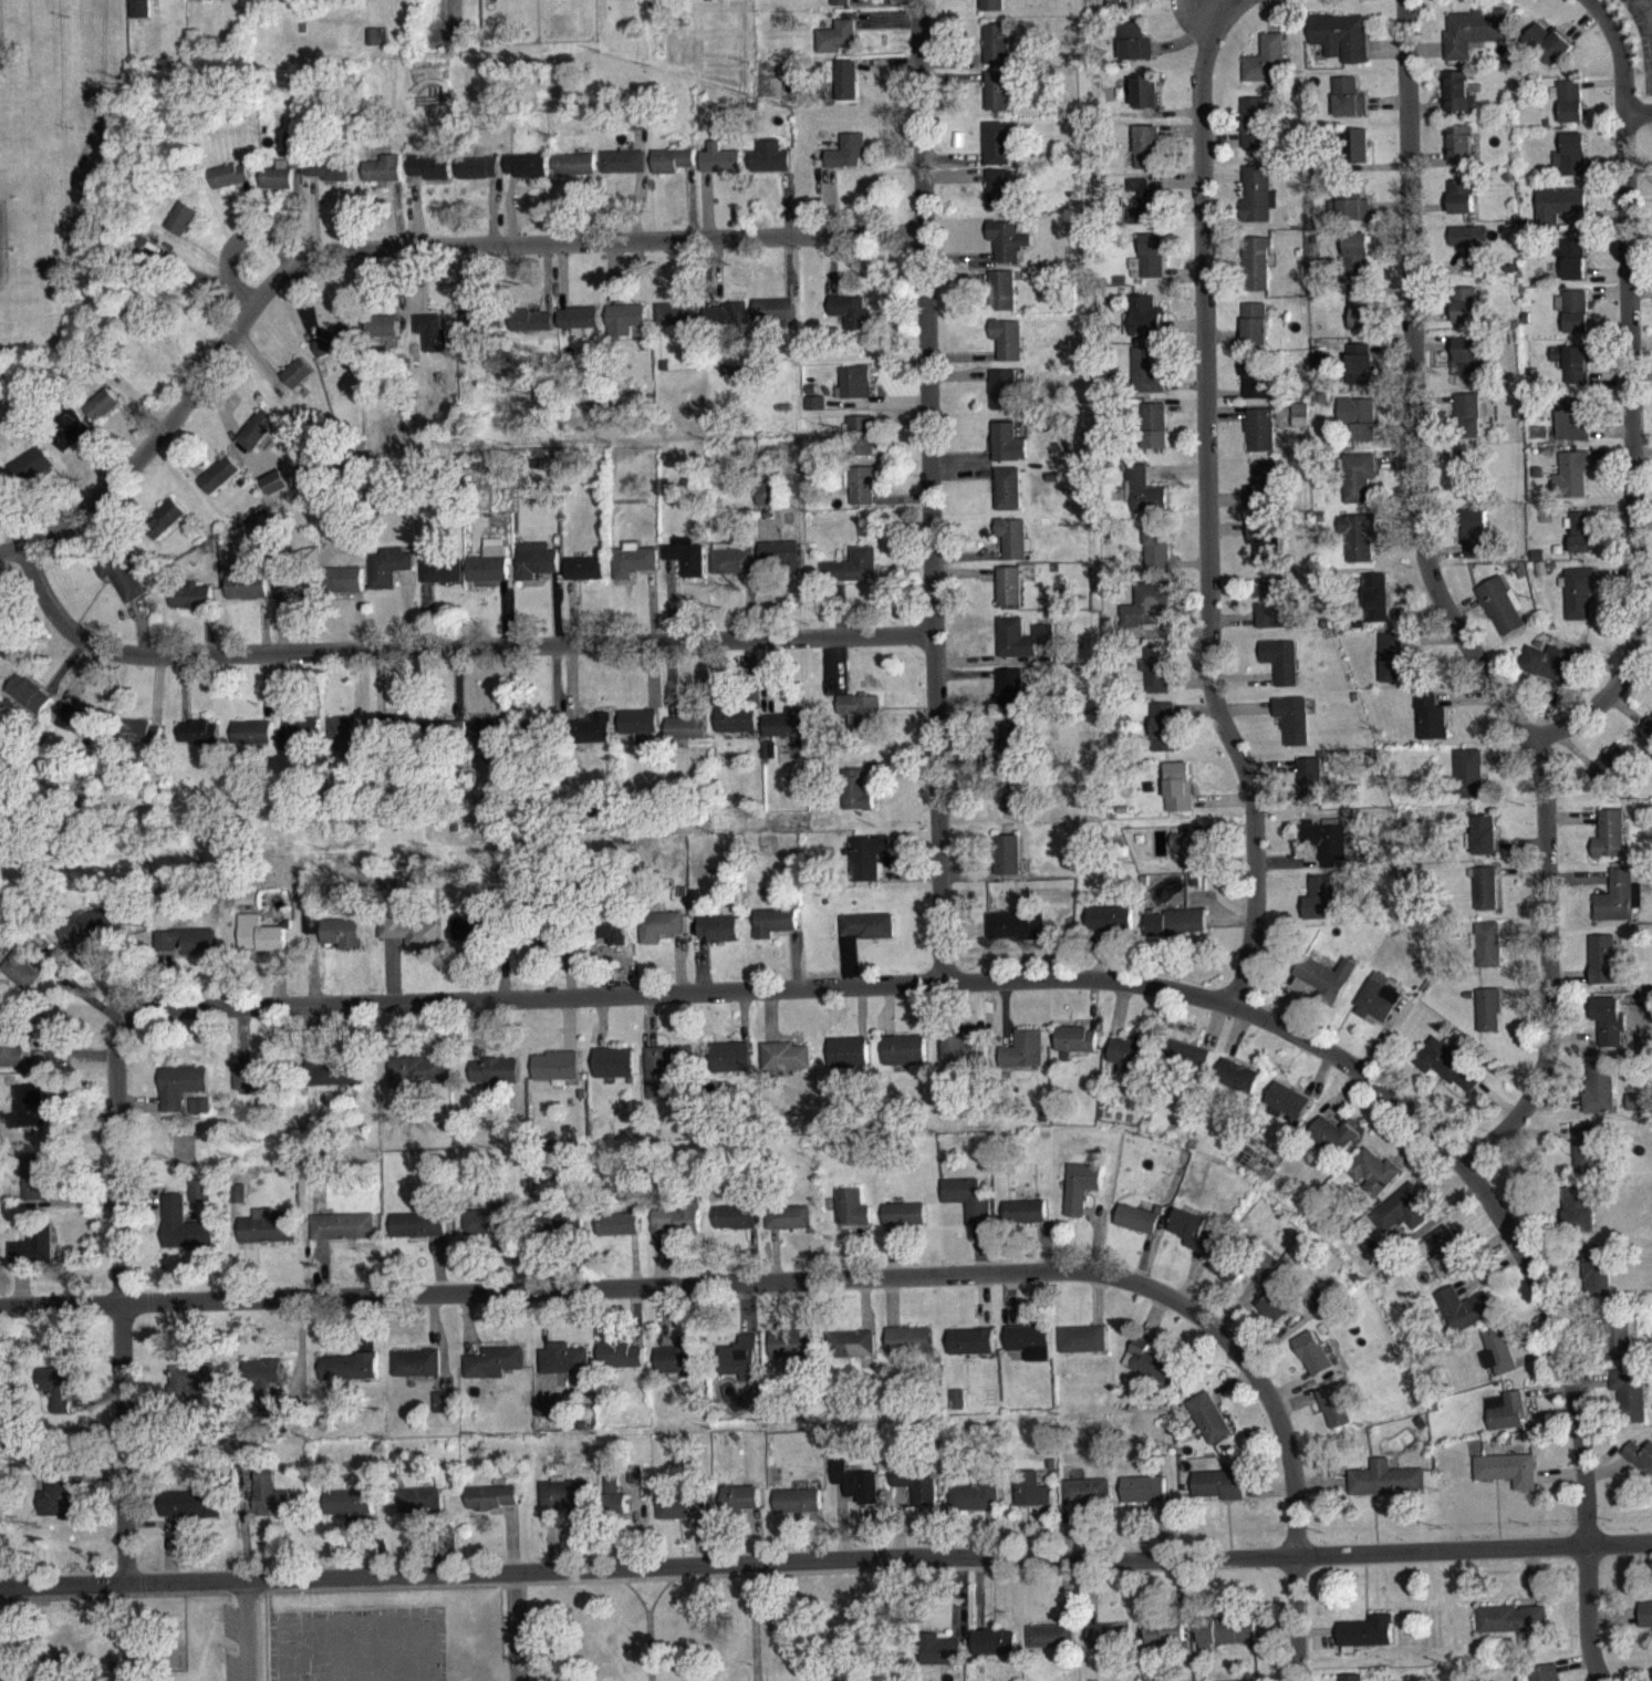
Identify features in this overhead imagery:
road: (1645, 7)
building: (841, 8)
building: (1124, 8)
road: (1254, 8)
building: (991, 10)
building: (141, 18)
building: (1472, 41)
building: (376, 46)
building: (837, 46)
building: (1341, 46)
building: (1134, 52)
road: (1617, 52)
building: (1549, 53)
building: (997, 54)
building: (1266, 71)
building: (846, 90)
building: (997, 101)
building: (1144, 102)
building: (1458, 103)
building: (1349, 107)
building: (1570, 111)
road: (1638, 111)
building: (1255, 133)
building: (294, 148)
building: (997, 153)
building: (1459, 154)
building: (1145, 155)
building: (1355, 155)
building: (848, 163)
building: (1571, 165)
building: (770, 168)
building: (720, 169)
building: (673, 170)
building: (624, 172)
building: (527, 175)
building: (575, 175)
building: (432, 177)
building: (479, 178)
building: (328, 179)
building: (384, 179)
building: (230, 185)
building: (278, 186)
building: (1000, 200)
building: (1257, 204)
building: (1461, 207)
building: (1143, 211)
building: (1559, 215)
building: (1350, 216)
building: (181, 228)
road: (231, 242)
road: (396, 247)
building: (1008, 250)
building: (1471, 255)
building: (1358, 260)
building: (1150, 268)
building: (1572, 269)
building: (1257, 273)
building: (1002, 300)
building: (1465, 314)
building: (1360, 318)
building: (775, 320)
building: (1573, 321)
building: (851, 322)
building: (678, 323)
building: (727, 326)
building: (1146, 326)
building: (579, 329)
building: (625, 329)
building: (477, 331)
building: (533, 331)
building: (1255, 334)
building: (382, 335)
building: (432, 342)
building: (1007, 349)
building: (335, 350)
building: (1468, 367)
building: (1321, 370)
building: (1572, 373)
building: (1361, 374)
building: (1146, 381)
building: (298, 383)
building: (1256, 387)
building: (854, 392)
building: (1002, 400)
building: (815, 413)
building: (102, 415)
building: (1300, 425)
building: (1467, 426)
building: (1360, 427)
building: (1572, 429)
building: (1154, 436)
building: (259, 438)
building: (1260, 440)
building: (860, 445)
building: (270, 448)
road: (1631, 452)
building: (1007, 453)
building: (32, 475)
building: (1466, 484)
building: (220, 485)
building: (1571, 485)
building: (1359, 488)
building: (1, 489)
building: (273, 490)
road: (927, 490)
building: (863, 496)
building: (1264, 496)
building: (1007, 498)
building: (1143, 500)
building: (768, 507)
road: (1220, 515)
building: (169, 525)
building: (1580, 541)
building: (1475, 543)
building: (1012, 548)
building: (1359, 548)
building: (1264, 551)
building: (1157, 558)
building: (780, 565)
building: (687, 567)
building: (537, 570)
building: (634, 570)
building: (734, 570)
building: (490, 572)
building: (388, 575)
building: (853, 577)
building: (585, 578)
building: (443, 580)
building: (122, 585)
building: (350, 590)
building: (1009, 595)
building: (248, 596)
building: (1579, 603)
building: (191, 605)
building: (1375, 608)
road: (1442, 609)
building: (1274, 614)
building: (1147, 615)
building: (1502, 615)
road: (449, 646)
building: (1021, 647)
building: (1394, 671)
building: (1281, 672)
building: (1550, 673)
building: (1156, 678)
building: (1010, 698)
building: (30, 704)
building: (862, 723)
building: (1431, 727)
building: (738, 729)
building: (1293, 729)
building: (788, 730)
building: (82, 731)
building: (387, 734)
building: (1649, 734)
building: (641, 736)
building: (689, 737)
building: (1163, 737)
building: (540, 739)
building: (596, 739)
building: (445, 740)
building: (252, 741)
building: (141, 743)
building: (199, 743)
building: (300, 744)
building: (492, 744)
building: (346, 747)
building: (1011, 747)
building: (770, 760)
building: (1611, 775)
building: (1468, 784)
building: (1309, 791)
building: (1178, 797)
building: (856, 800)
building: (1014, 800)
building: (1485, 844)
building: (1609, 845)
building: (1324, 848)
building: (1187, 854)
building: (1008, 864)
building: (867, 868)
building: (1485, 899)
building: (1320, 907)
building: (1618, 907)
building: (1110, 930)
building: (778, 931)
building: (1177, 933)
building: (870, 935)
building: (1015, 935)
building: (662, 936)
building: (91, 938)
building: (477, 938)
building: (616, 938)
building: (719, 938)
building: (335, 940)
building: (414, 943)
building: (260, 944)
building: (186, 951)
building: (1488, 955)
building: (1606, 971)
building: (23, 976)
road: (1024, 977)
building: (1326, 987)
building: (1375, 1010)
building: (1606, 1018)
building: (1488, 1020)
building: (1609, 1045)
building: (11, 1049)
building: (1077, 1049)
building: (964, 1058)
building: (1024, 1059)
building: (904, 1060)
building: (849, 1061)
building: (1129, 1062)
building: (1187, 1066)
building: (731, 1067)
building: (787, 1067)
building: (614, 1072)
building: (1446, 1075)
building: (557, 1077)
building: (666, 1077)
building: (496, 1080)
building: (335, 1081)
building: (417, 1082)
building: (1238, 1086)
building: (258, 1091)
building: (180, 1096)
building: (1599, 1097)
building: (1287, 1110)
building: (1635, 1111)
building: (30, 1114)
building: (199, 1116)
building: (1333, 1144)
building: (1586, 1159)
building: (1373, 1182)
building: (35, 1187)
building: (195, 1189)
building: (238, 1191)
building: (1080, 1196)
building: (967, 1208)
building: (852, 1218)
building: (1402, 1220)
building: (1578, 1220)
building: (1024, 1222)
building: (184, 1223)
building: (342, 1223)
building: (267, 1224)
building: (904, 1224)
building: (736, 1227)
building: (788, 1227)
building: (677, 1228)
building: (1136, 1228)
building: (487, 1229)
building: (617, 1234)
building: (418, 1235)
building: (343, 1236)
building: (564, 1237)
building: (1194, 1239)
building: (34, 1255)
building: (1447, 1259)
building: (1230, 1278)
building: (1596, 1280)
road: (744, 1284)
road: (120, 1295)
building: (1277, 1318)
building: (1465, 1319)
building: (1620, 1347)
building: (1083, 1349)
building: (1497, 1349)
building: (908, 1350)
building: (970, 1351)
building: (1029, 1351)
building: (792, 1353)
building: (852, 1355)
building: (1312, 1363)
building: (620, 1364)
building: (740, 1367)
building: (563, 1369)
building: (679, 1369)
building: (416, 1372)
building: (493, 1372)
building: (1149, 1372)
building: (347, 1377)
building: (193, 1390)
building: (1629, 1404)
building: (956, 1410)
building: (444, 1412)
building: (546, 1417)
building: (1334, 1417)
building: (1506, 1421)
building: (1208, 1428)
building: (1507, 1467)
building: (1640, 1467)
building: (1386, 1490)
building: (856, 1493)
building: (916, 1493)
building: (1218, 1495)
building: (1030, 1500)
building: (1143, 1500)
building: (269, 1502)
building: (1087, 1502)
building: (567, 1505)
building: (975, 1505)
building: (56, 1506)
building: (492, 1507)
building: (616, 1508)
building: (740, 1508)
building: (419, 1511)
building: (797, 1511)
building: (349, 1513)
building: (190, 1514)
building: (682, 1516)
road: (825, 1574)
road: (1587, 1619)
building: (1645, 1623)
road: (1295, 1625)
road: (515, 1629)
building: (1511, 1629)
road: (246, 1630)
building: (1165, 1641)
building: (1226, 1642)
building: (1365, 1642)
building: (1109, 1644)
building: (1050, 1646)
building: (994, 1652)
building: (942, 1661)
building: (1546, 1678)

